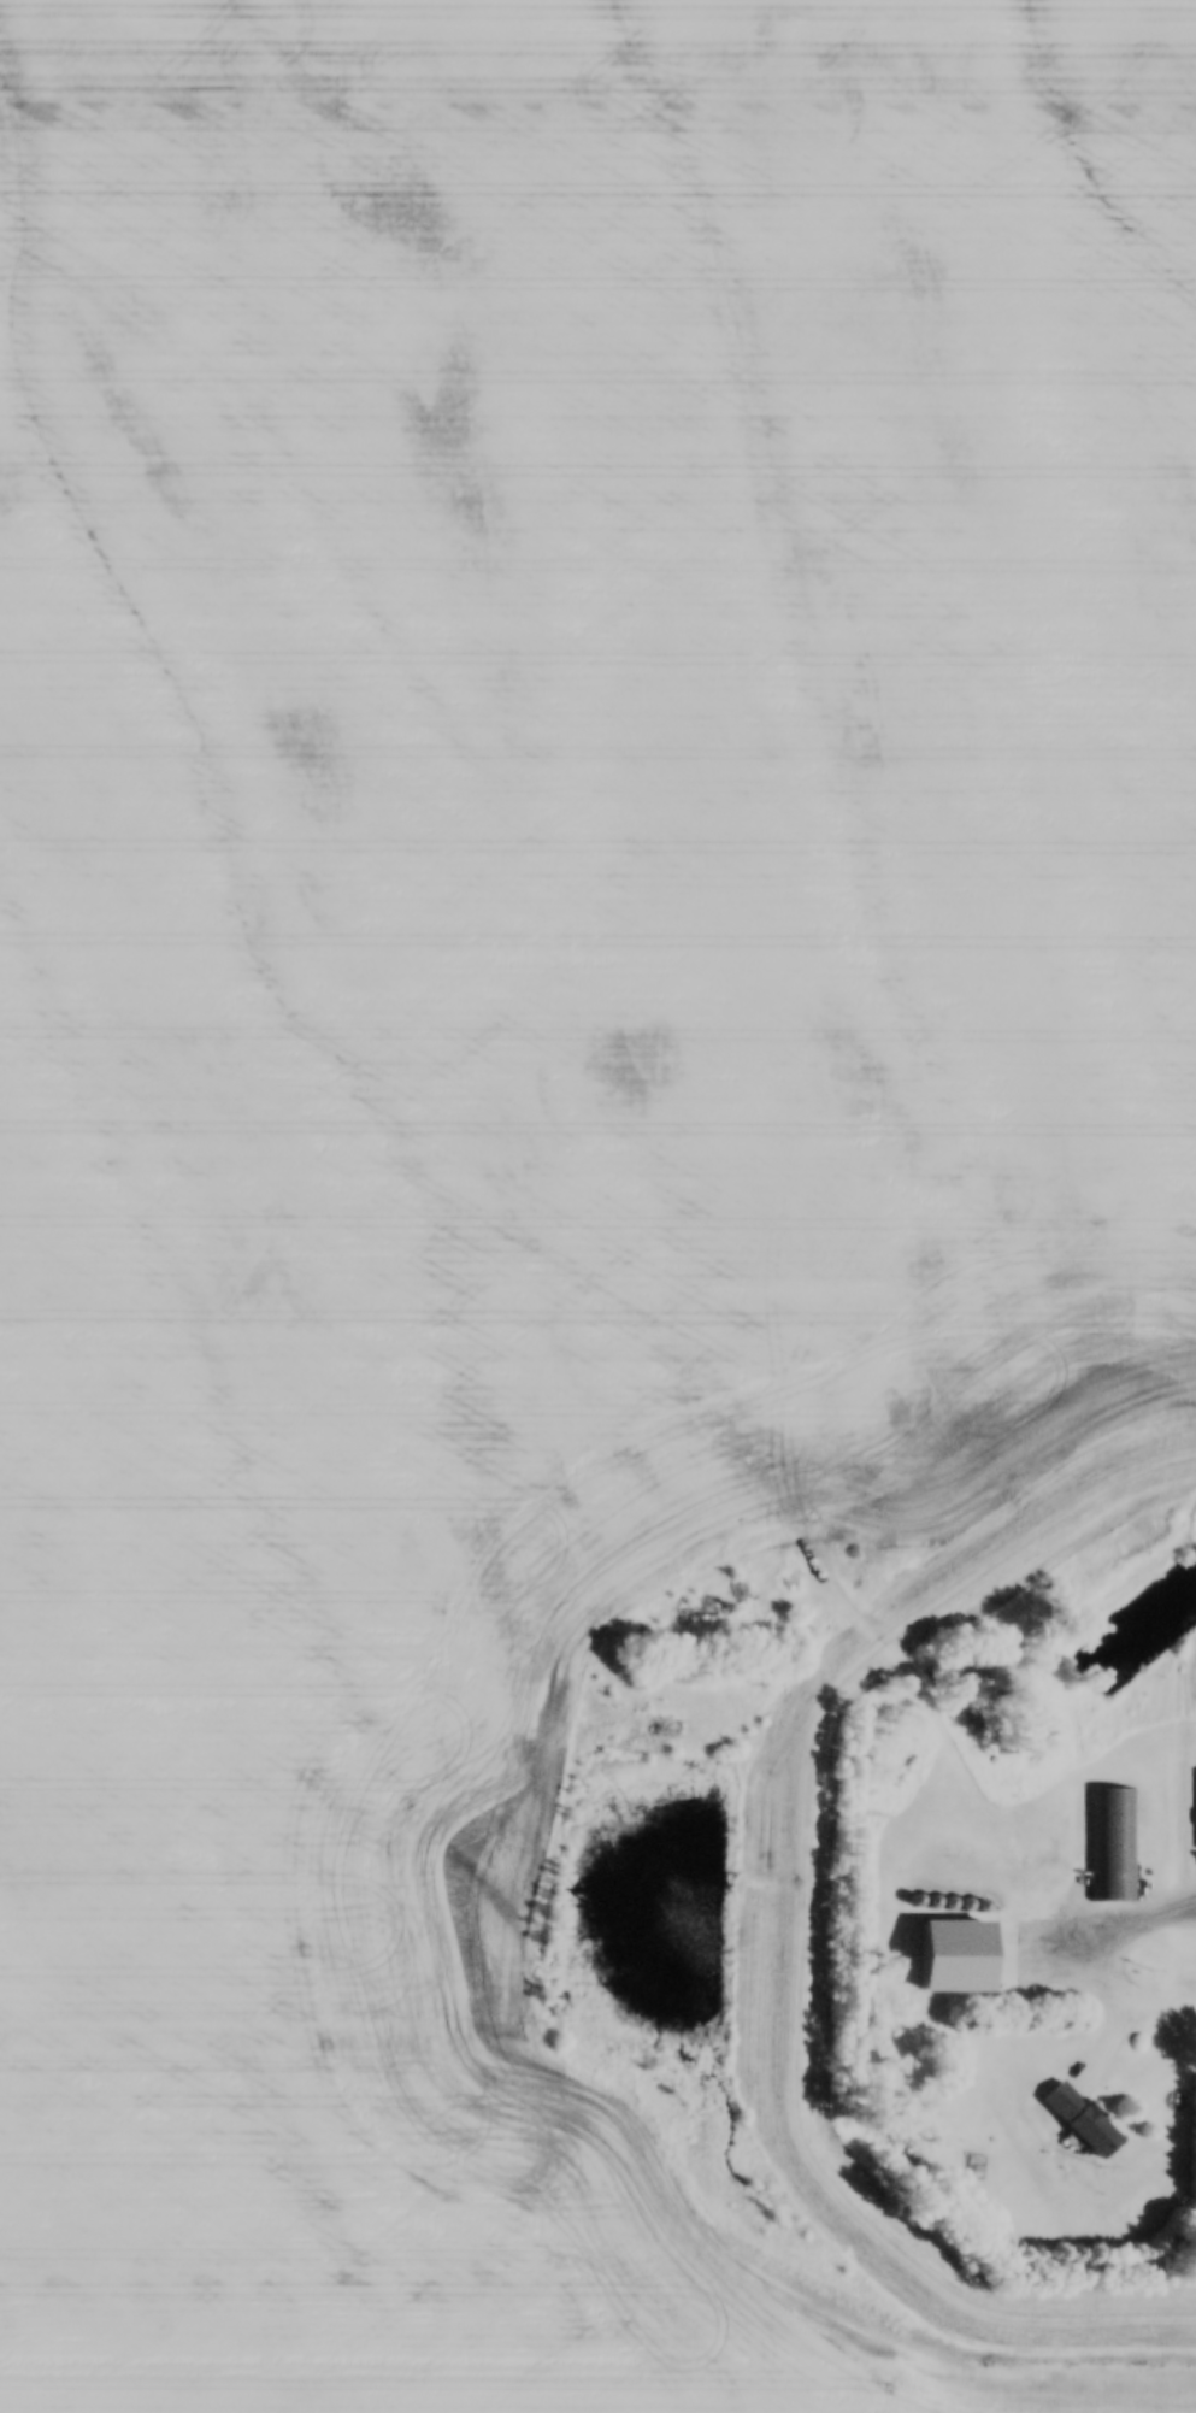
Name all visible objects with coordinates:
building: (1114, 1846)
building: (1078, 2118)

